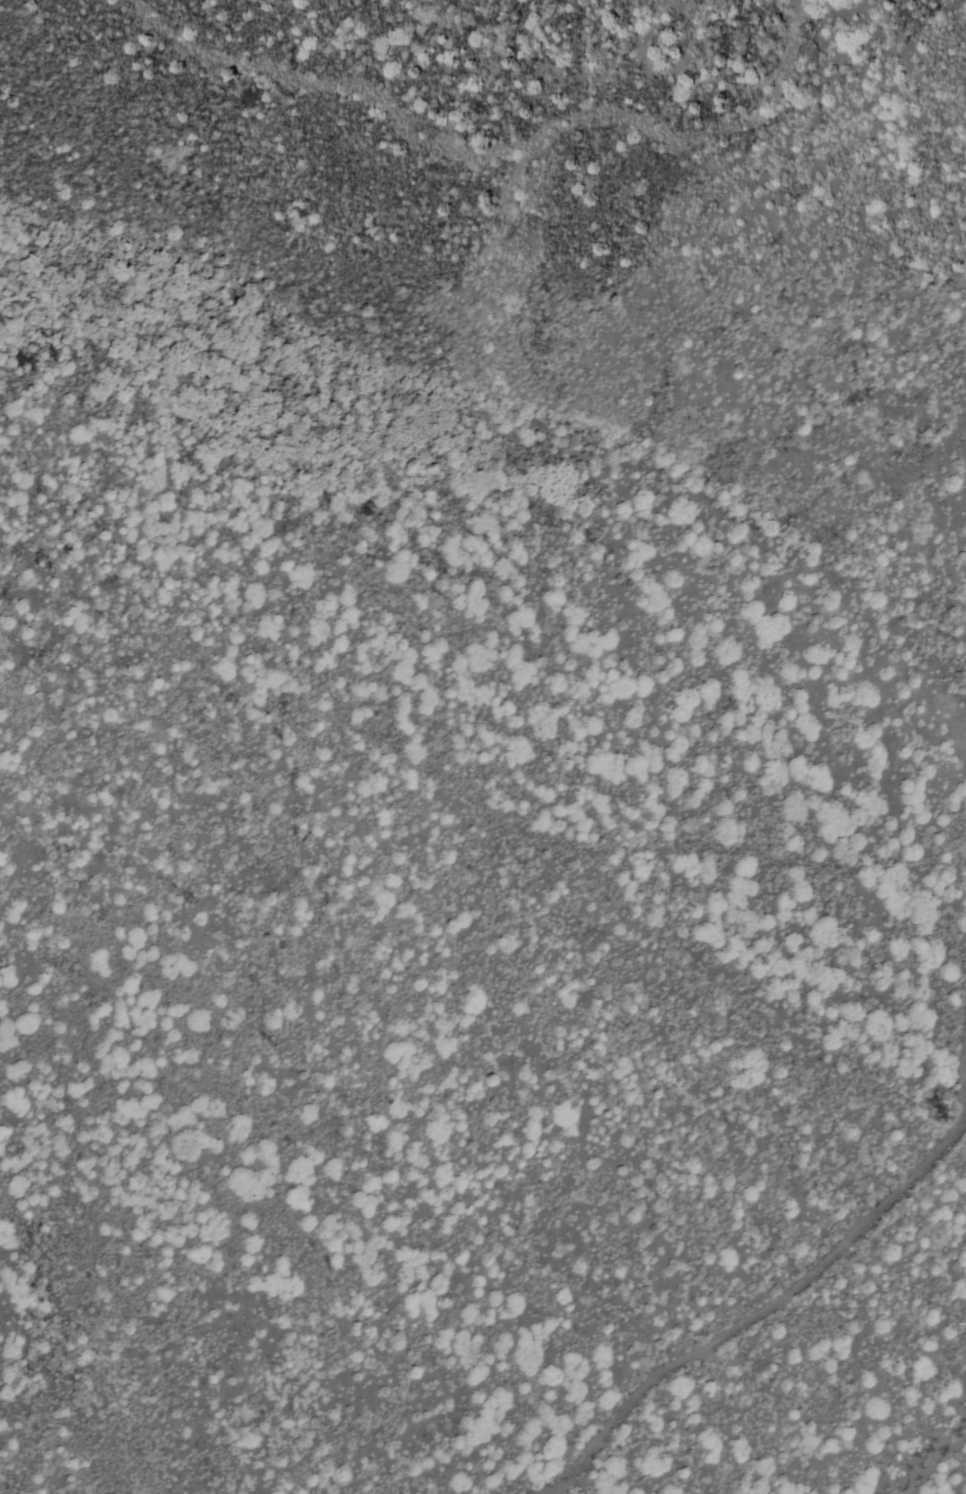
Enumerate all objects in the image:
road: (779, 1299)

